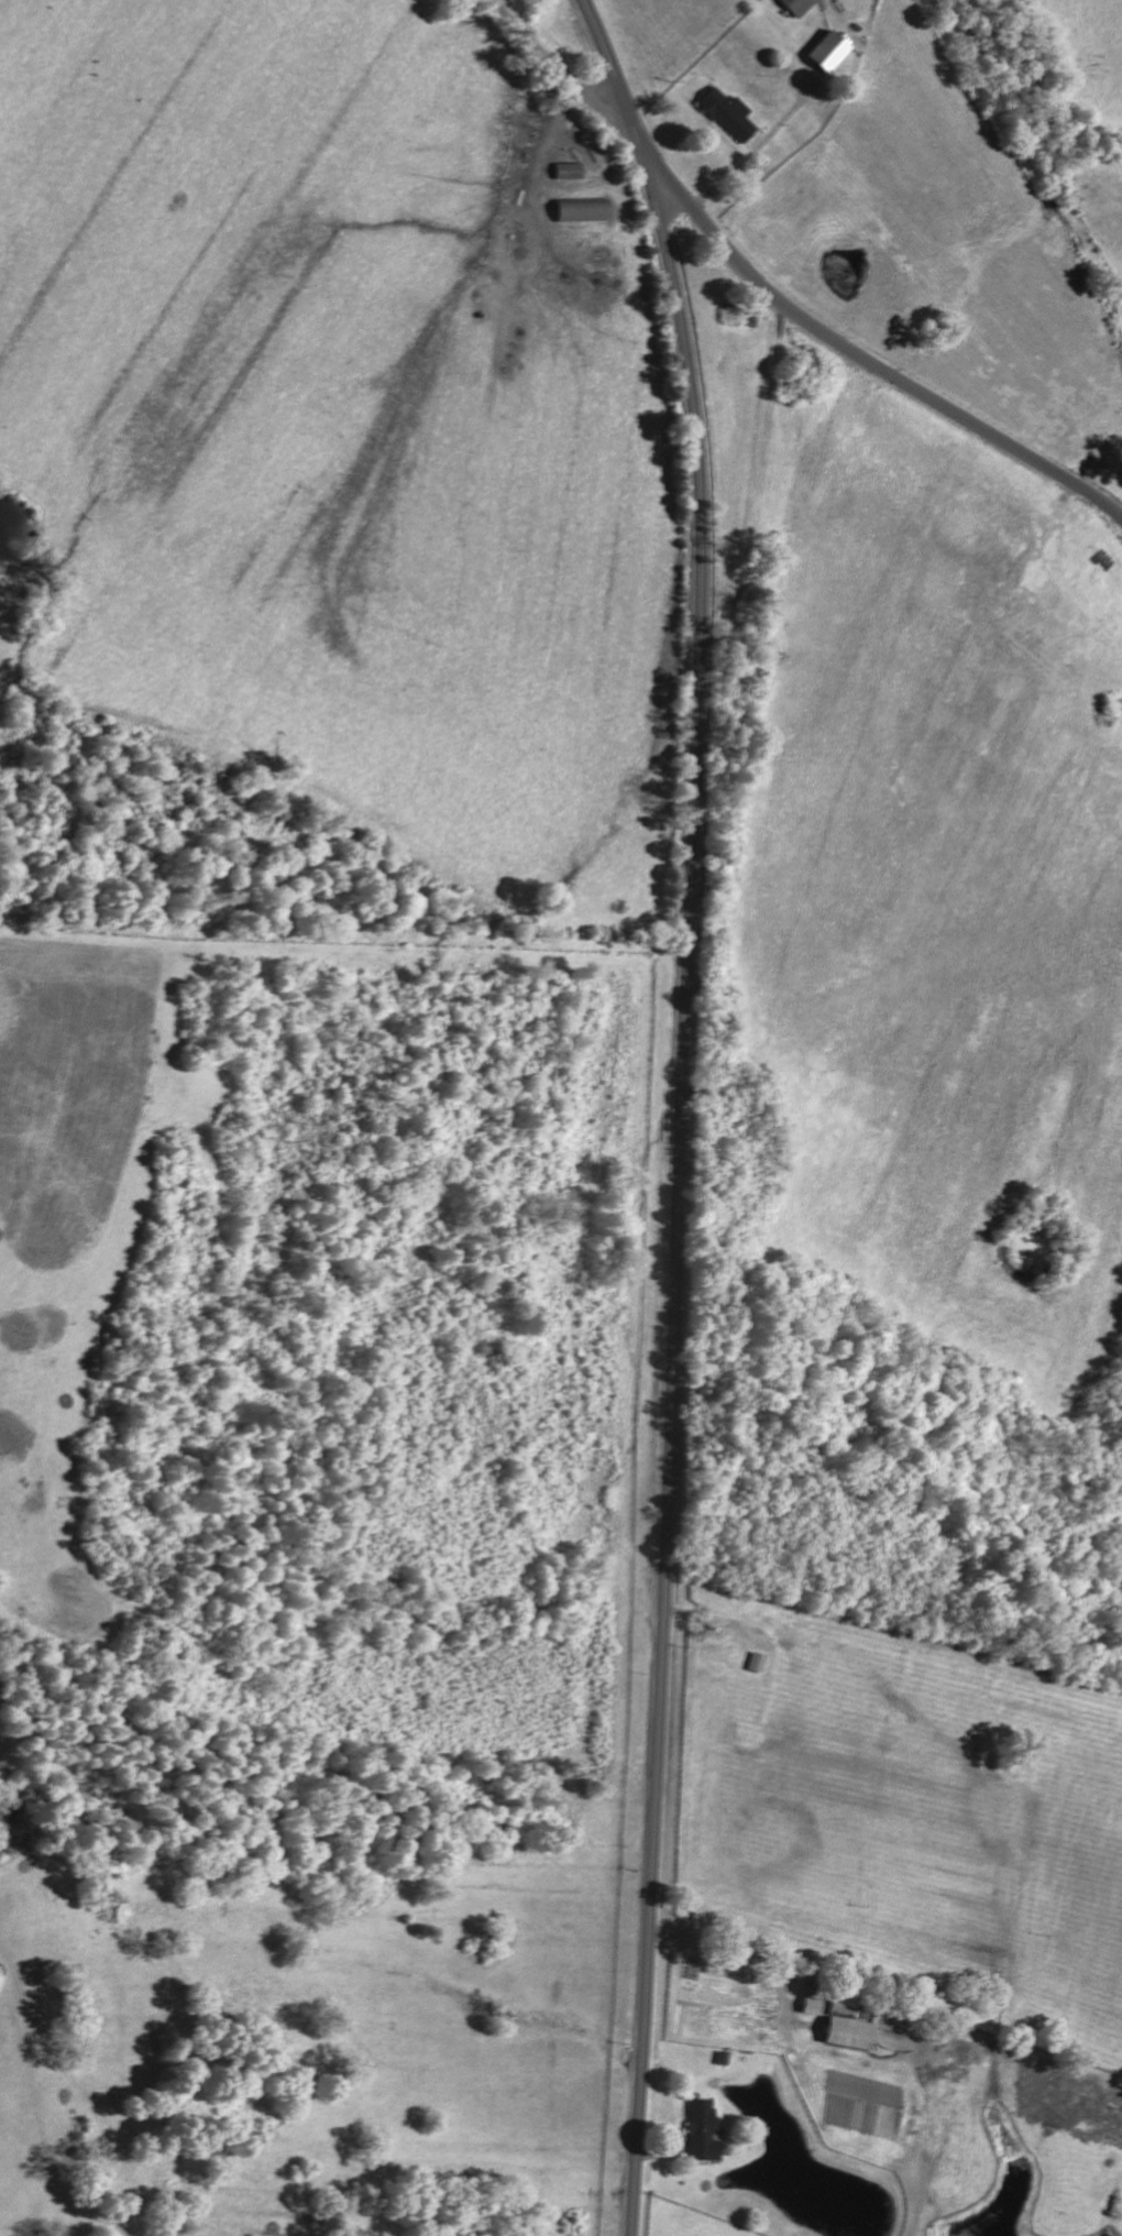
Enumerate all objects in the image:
building: (795, 7)
building: (824, 52)
building: (726, 114)
road: (777, 296)
road: (684, 1109)
building: (755, 1663)
road: (739, 1960)
building: (810, 2007)
building: (844, 2034)
building: (702, 2133)

